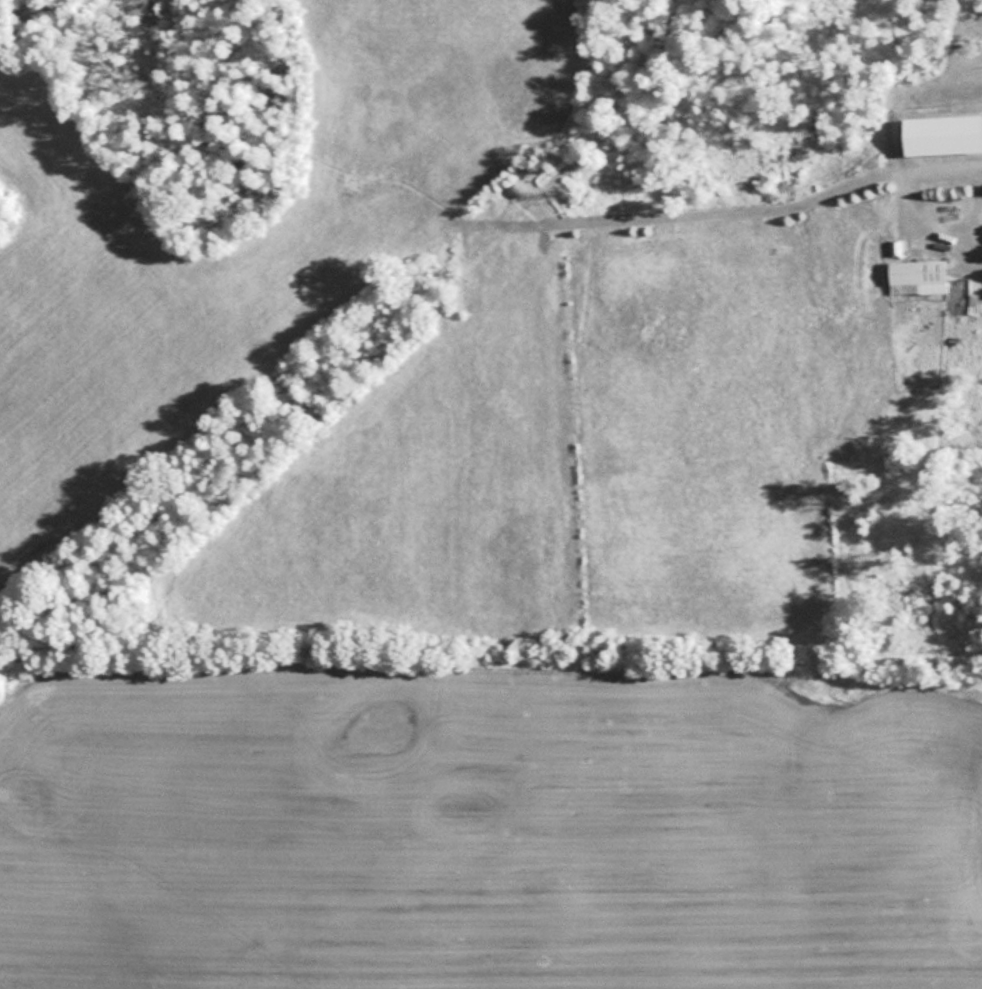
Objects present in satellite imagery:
building: (918, 276)
building: (645, 324)

